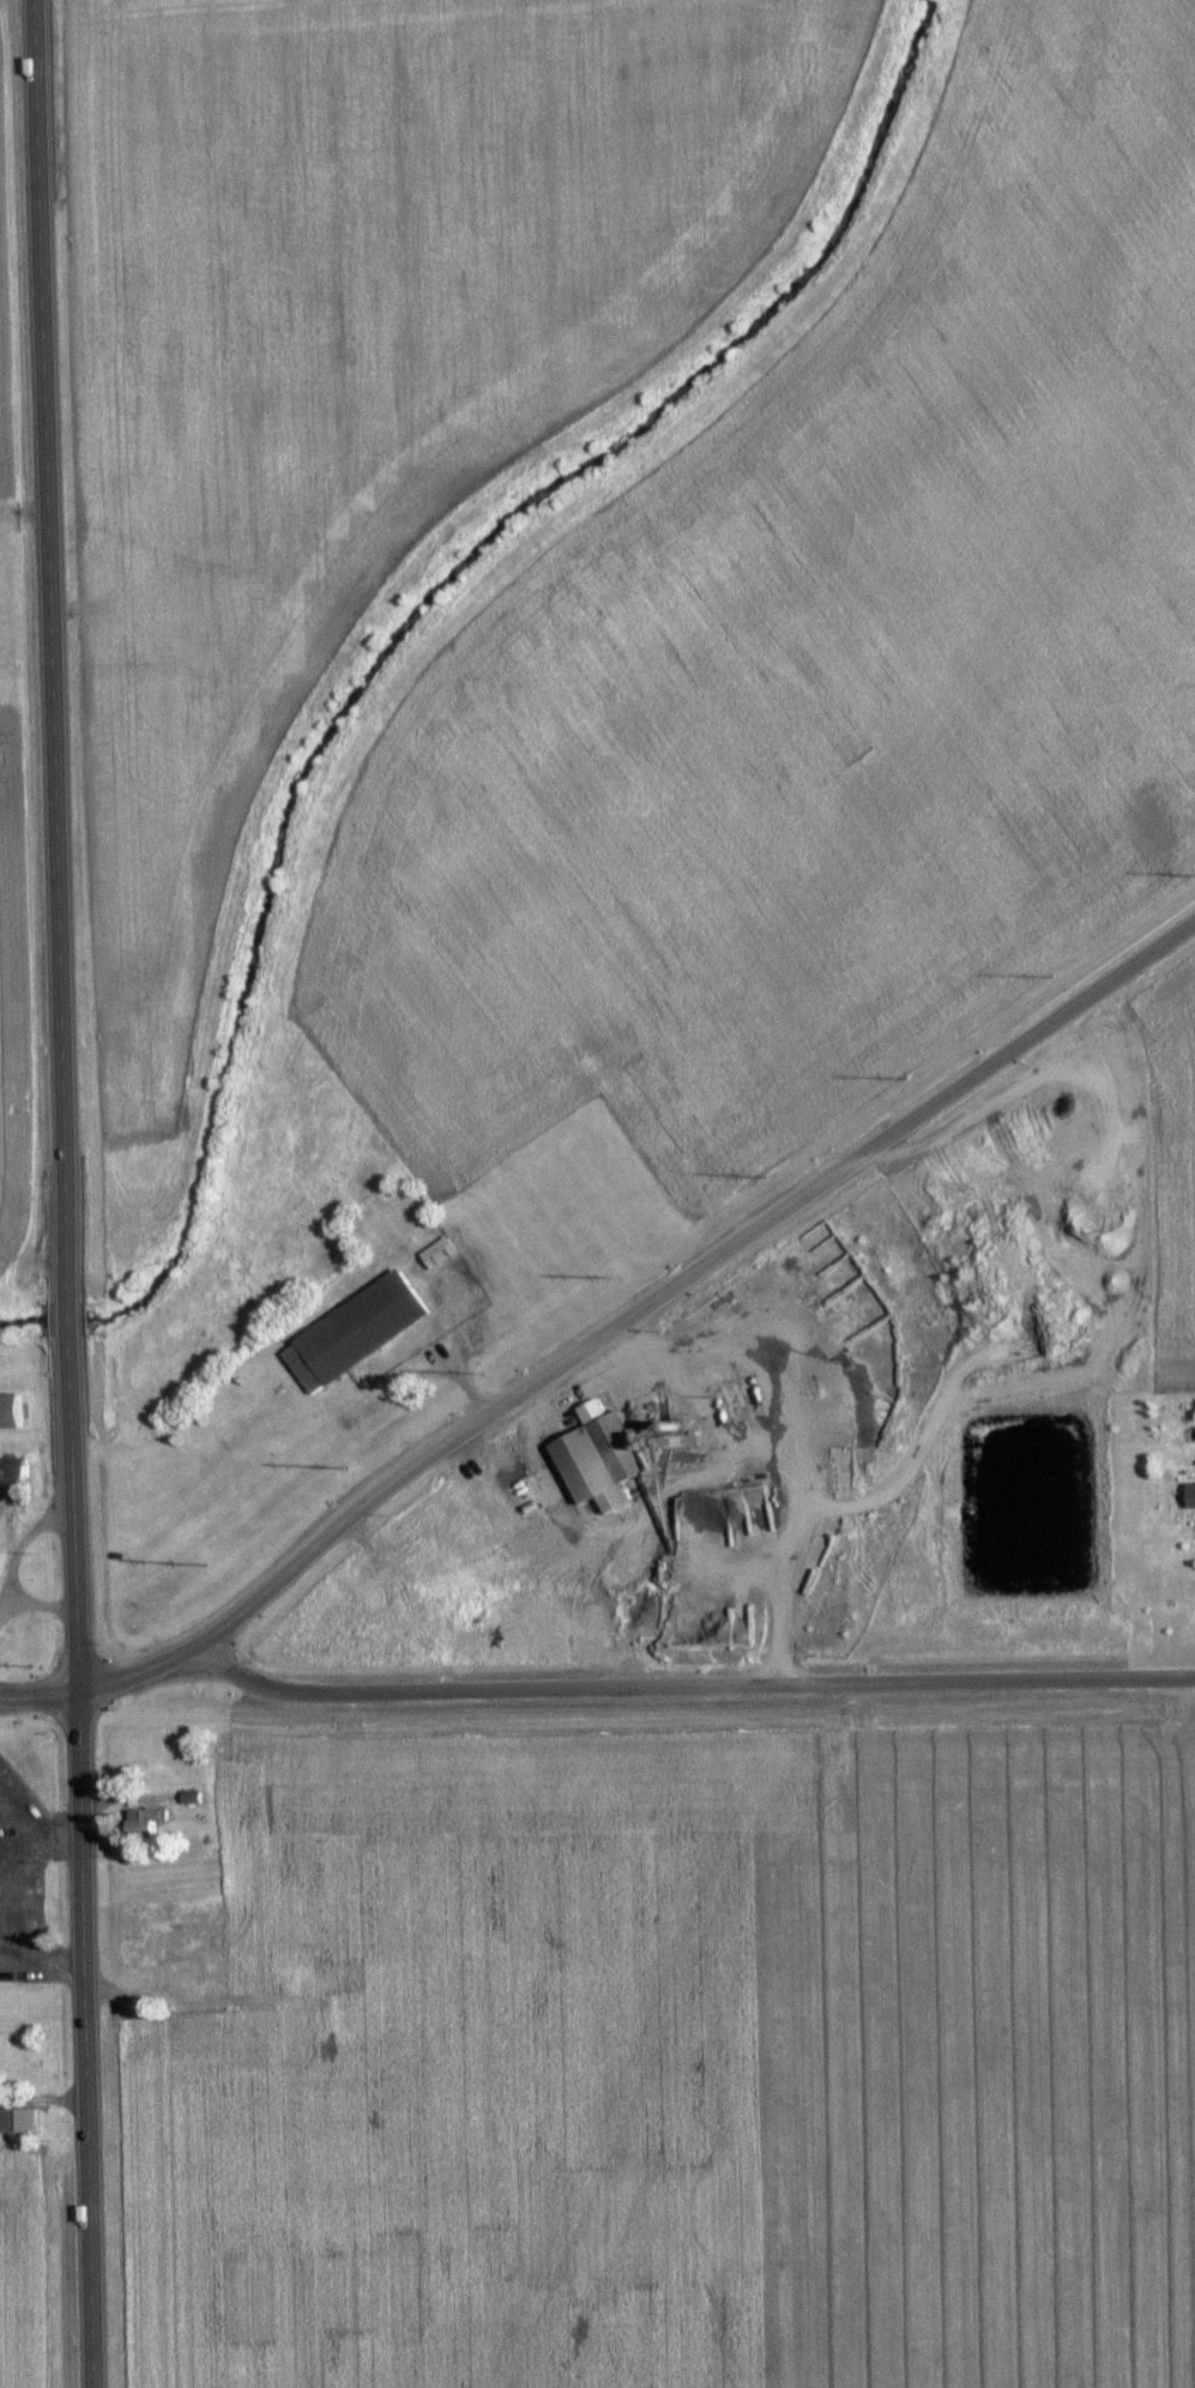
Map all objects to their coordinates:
crop: (368, 338)
road: (52, 652)
crop: (815, 680)
crop: (7, 1084)
crop: (1164, 1174)
road: (67, 1321)
building: (345, 1333)
road: (603, 1334)
building: (11, 1411)
road: (927, 1441)
building: (589, 1459)
building: (1185, 1496)
road: (689, 1687)
building: (147, 1820)
road: (82, 1862)
crop: (677, 2072)
building: (17, 2122)
crop: (18, 2281)

